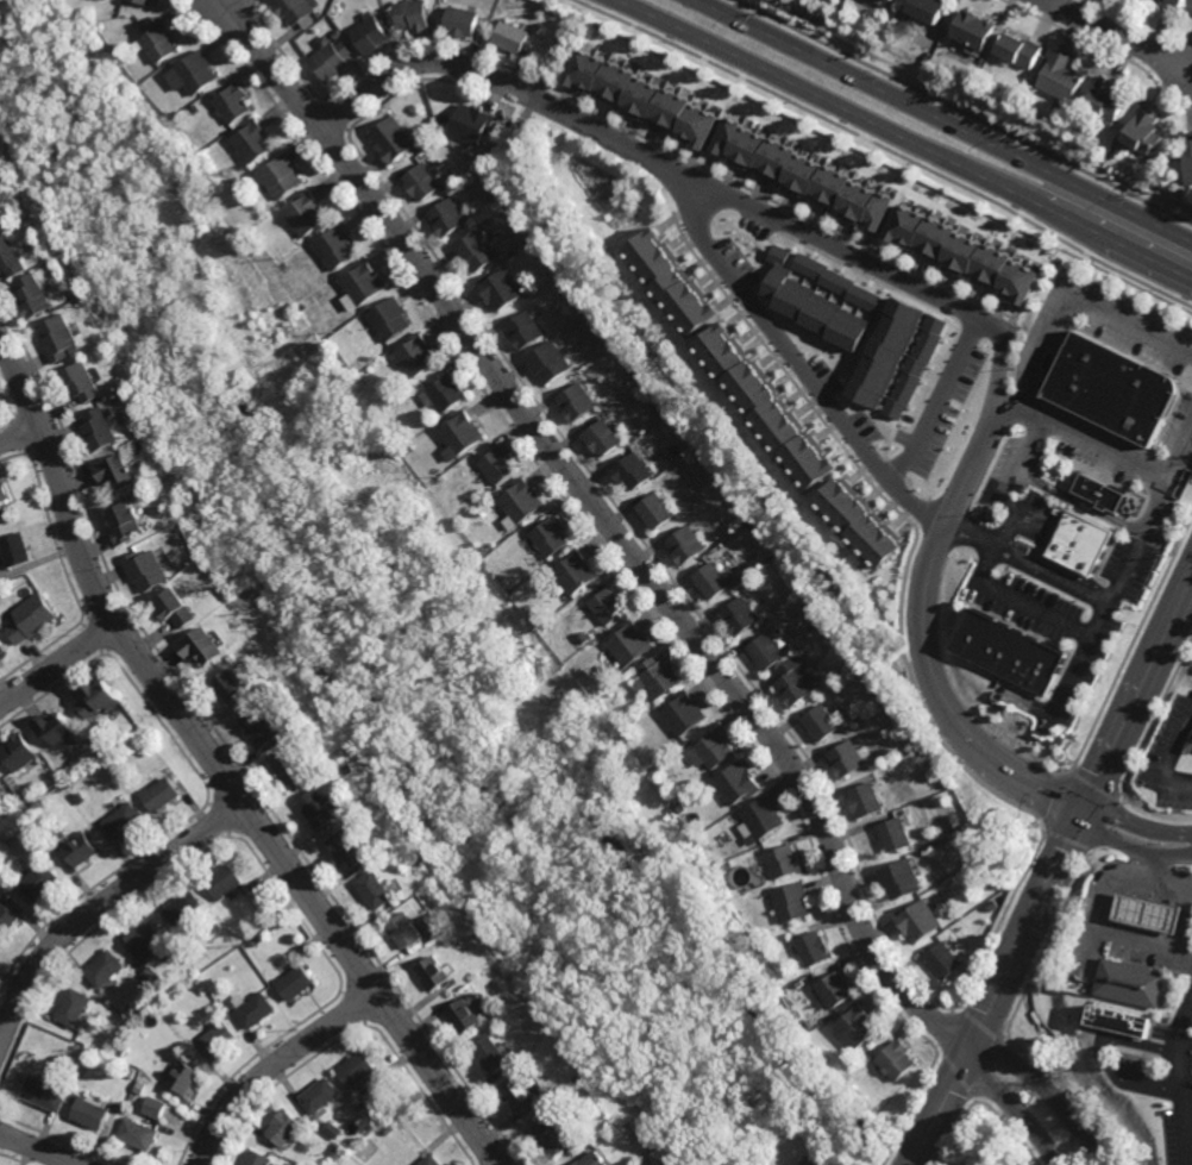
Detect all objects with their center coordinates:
building: (896, 0)
building: (148, 1)
building: (1174, 2)
building: (927, 7)
building: (294, 8)
building: (414, 14)
building: (462, 19)
building: (539, 26)
building: (973, 26)
building: (370, 32)
building: (510, 36)
road: (1116, 36)
building: (157, 38)
building: (1018, 48)
building: (330, 61)
building: (1003, 65)
building: (193, 71)
building: (1060, 74)
building: (641, 96)
building: (1106, 98)
building: (233, 101)
building: (195, 108)
road: (943, 120)
building: (472, 123)
building: (1142, 131)
road: (904, 137)
building: (393, 138)
building: (255, 140)
building: (1188, 152)
building: (803, 173)
building: (282, 176)
building: (452, 178)
building: (421, 181)
building: (1, 186)
building: (308, 212)
building: (448, 217)
building: (2, 219)
building: (535, 240)
building: (337, 246)
building: (477, 250)
building: (964, 252)
building: (11, 257)
building: (673, 282)
building: (842, 283)
building: (363, 284)
building: (502, 289)
road: (917, 289)
building: (32, 295)
building: (578, 303)
building: (814, 305)
building: (390, 319)
road: (1129, 325)
building: (522, 330)
building: (58, 338)
building: (606, 340)
road: (1043, 351)
building: (889, 352)
building: (419, 355)
building: (547, 362)
road: (799, 363)
building: (917, 367)
building: (630, 374)
building: (80, 382)
building: (1113, 390)
building: (447, 393)
road: (937, 399)
building: (573, 402)
building: (768, 406)
building: (659, 411)
building: (99, 428)
road: (21, 431)
building: (462, 436)
building: (600, 438)
building: (410, 450)
building: (675, 450)
road: (1179, 455)
building: (498, 466)
building: (629, 471)
building: (118, 472)
building: (4, 491)
building: (490, 491)
building: (1100, 494)
building: (517, 502)
road: (1079, 502)
building: (653, 511)
building: (2, 512)
building: (126, 521)
road: (609, 524)
building: (862, 525)
building: (752, 526)
road: (1140, 533)
building: (548, 538)
building: (1081, 544)
building: (684, 546)
building: (17, 549)
road: (996, 551)
road: (1029, 559)
building: (146, 570)
building: (575, 574)
building: (234, 576)
building: (709, 581)
building: (176, 607)
building: (607, 608)
building: (33, 618)
building: (739, 618)
building: (583, 639)
building: (2, 644)
building: (629, 644)
building: (201, 649)
building: (1014, 650)
building: (765, 653)
building: (854, 662)
road: (57, 665)
building: (663, 678)
building: (231, 682)
building: (795, 684)
building: (878, 693)
building: (99, 699)
building: (689, 709)
building: (820, 721)
building: (261, 724)
building: (56, 726)
building: (1190, 745)
building: (721, 746)
building: (20, 750)
building: (341, 753)
road: (1169, 754)
building: (847, 756)
building: (931, 765)
road: (218, 768)
building: (291, 768)
building: (350, 768)
building: (740, 779)
building: (695, 781)
building: (1, 784)
building: (161, 790)
building: (82, 795)
building: (866, 797)
building: (320, 807)
traffic signals: (1084, 814)
building: (761, 815)
building: (124, 818)
road: (1087, 818)
building: (895, 831)
building: (83, 846)
building: (347, 847)
building: (782, 859)
building: (728, 863)
road: (1161, 869)
road: (1054, 875)
building: (899, 877)
building: (40, 878)
building: (225, 878)
building: (377, 889)
building: (792, 900)
road: (99, 903)
building: (992, 904)
building: (186, 906)
building: (1152, 912)
gas station: (1152, 912)
building: (6, 915)
road: (1102, 915)
building: (917, 919)
building: (407, 928)
building: (146, 938)
building: (255, 941)
building: (815, 946)
building: (942, 958)
building: (103, 965)
building: (437, 971)
building: (153, 975)
building: (299, 981)
building: (1134, 981)
building: (836, 988)
building: (169, 1003)
building: (74, 1004)
building: (128, 1009)
building: (258, 1009)
building: (468, 1015)
building: (1122, 1019)
building: (810, 1022)
building: (859, 1023)
building: (221, 1036)
building: (120, 1048)
building: (102, 1053)
building: (494, 1053)
building: (871, 1057)
road: (1106, 1057)
building: (112, 1058)
building: (896, 1058)
road: (274, 1065)
building: (358, 1069)
road: (1186, 1069)
building: (132, 1070)
building: (183, 1076)
building: (142, 1084)
building: (45, 1092)
road: (1049, 1092)
road: (1190, 1094)
building: (322, 1095)
building: (525, 1095)
building: (366, 1104)
building: (156, 1106)
road: (1015, 1111)
building: (90, 1113)
building: (400, 1122)
building: (286, 1127)
building: (335, 1128)
building: (390, 1128)
building: (138, 1133)
building: (554, 1139)
park: (980, 1141)
building: (654, 1147)
road: (37, 1148)
building: (338, 1148)
building: (586, 1150)
building: (368, 1151)
building: (983, 1152)
building: (258, 1158)
building: (596, 1159)
building: (433, 1160)
building: (818, 1164)
building: (821, 1164)

